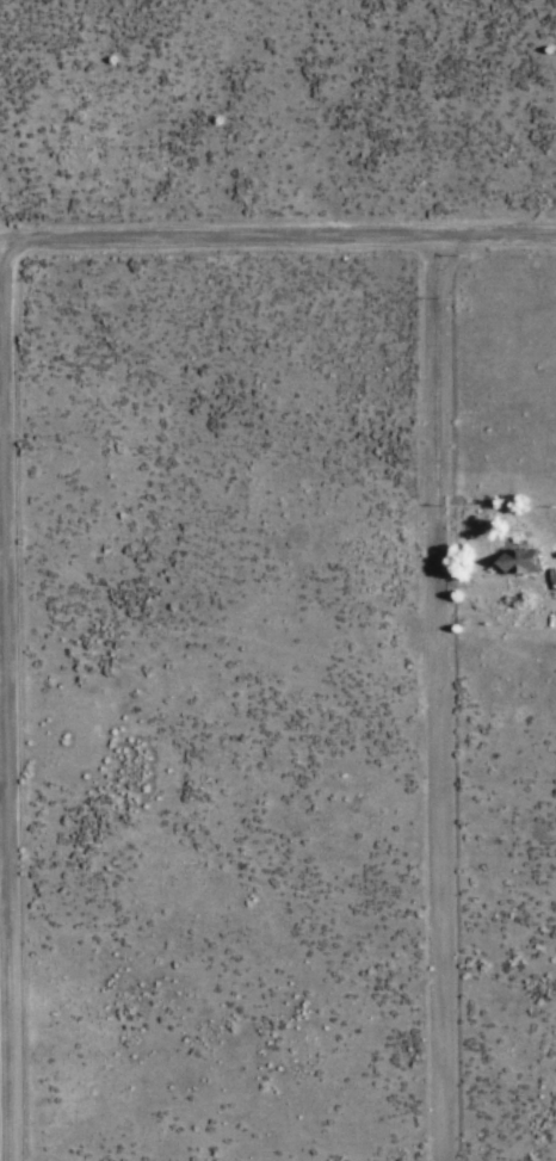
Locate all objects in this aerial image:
road: (278, 240)
road: (13, 700)
road: (446, 700)

